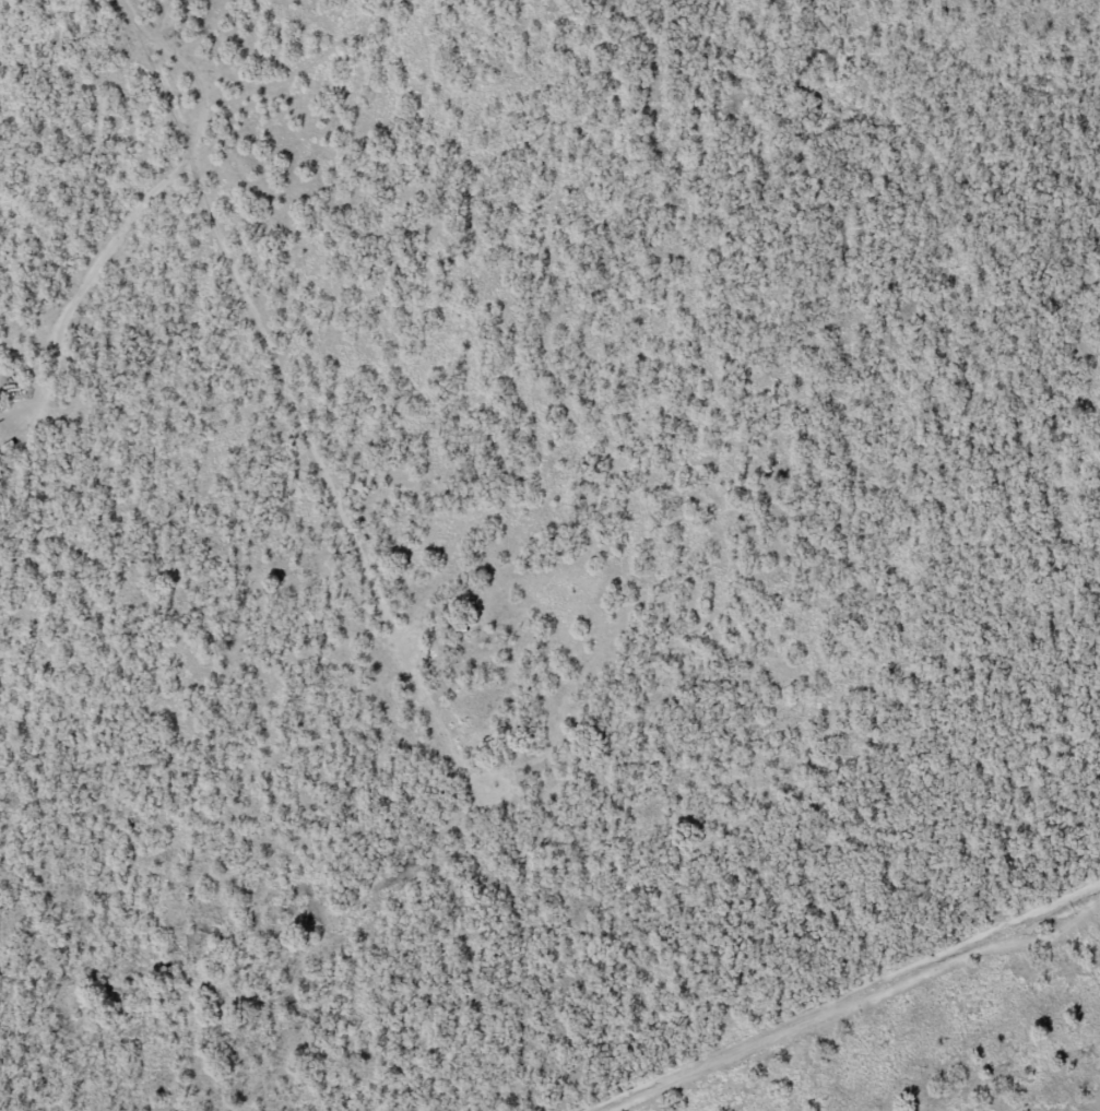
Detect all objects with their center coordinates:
road: (1097, 2)

